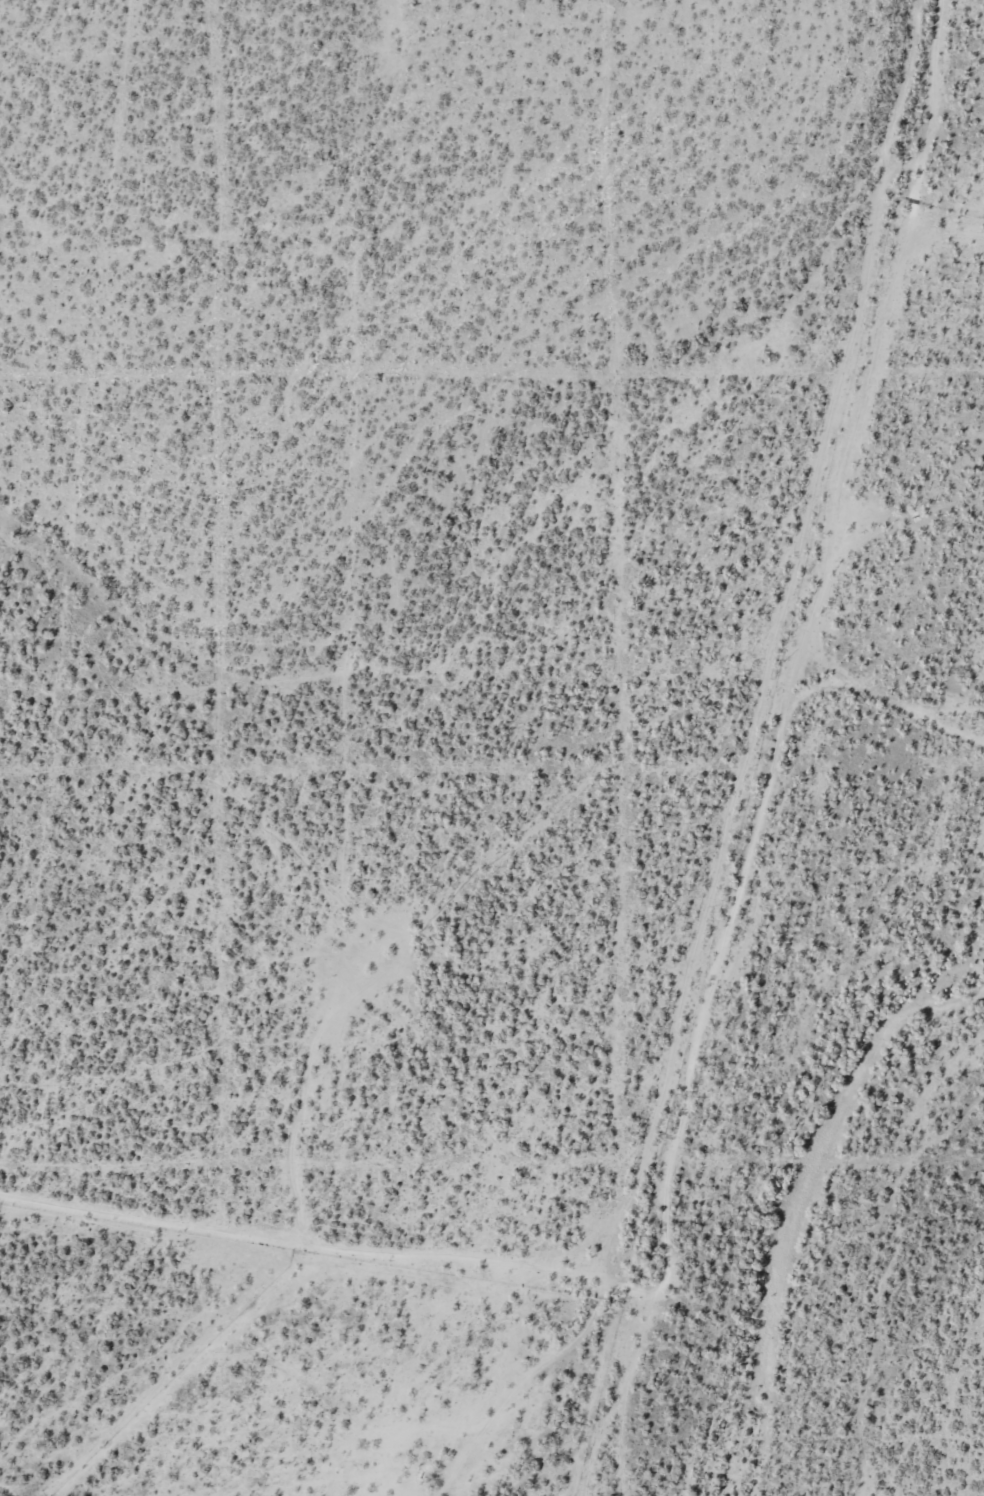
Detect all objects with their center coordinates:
road: (733, 763)

